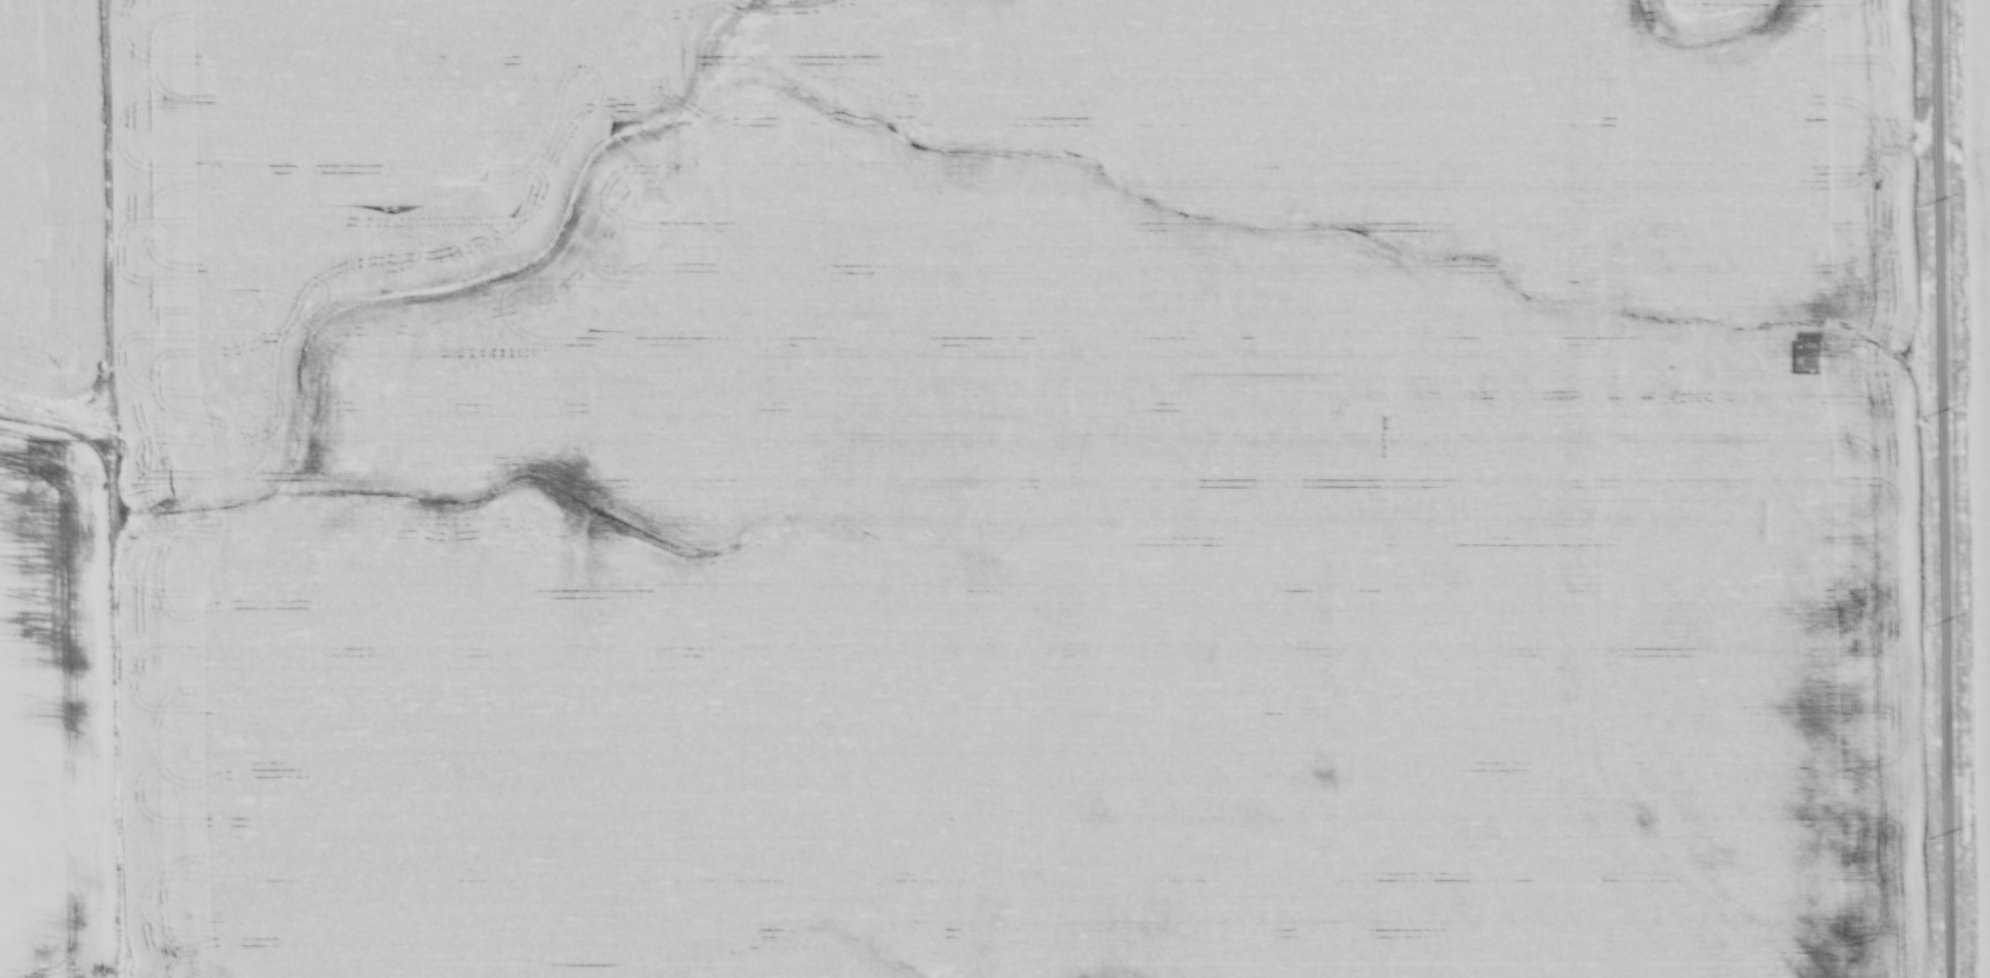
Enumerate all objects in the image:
road: (1943, 489)

